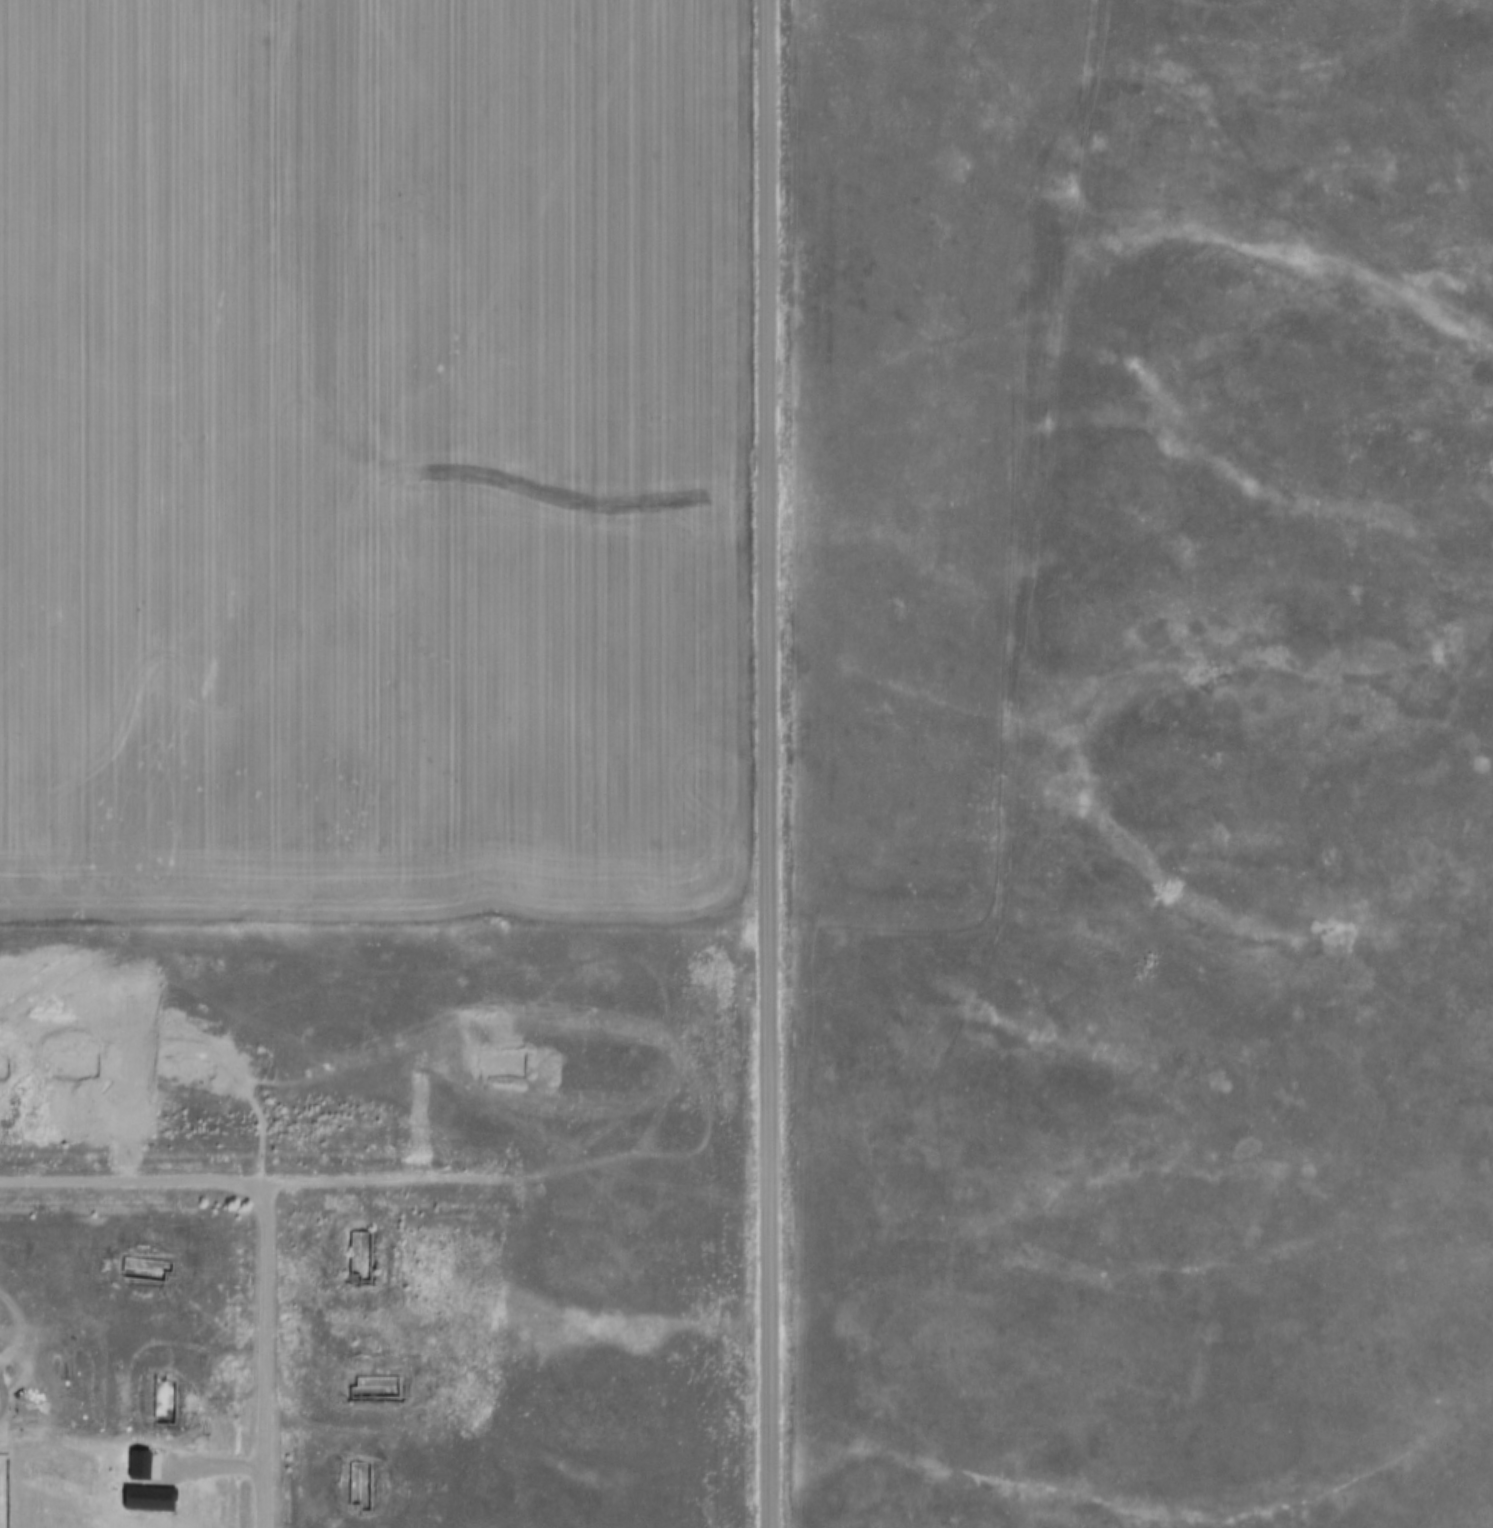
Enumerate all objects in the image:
road: (767, 764)
road: (127, 1179)
road: (254, 1354)

